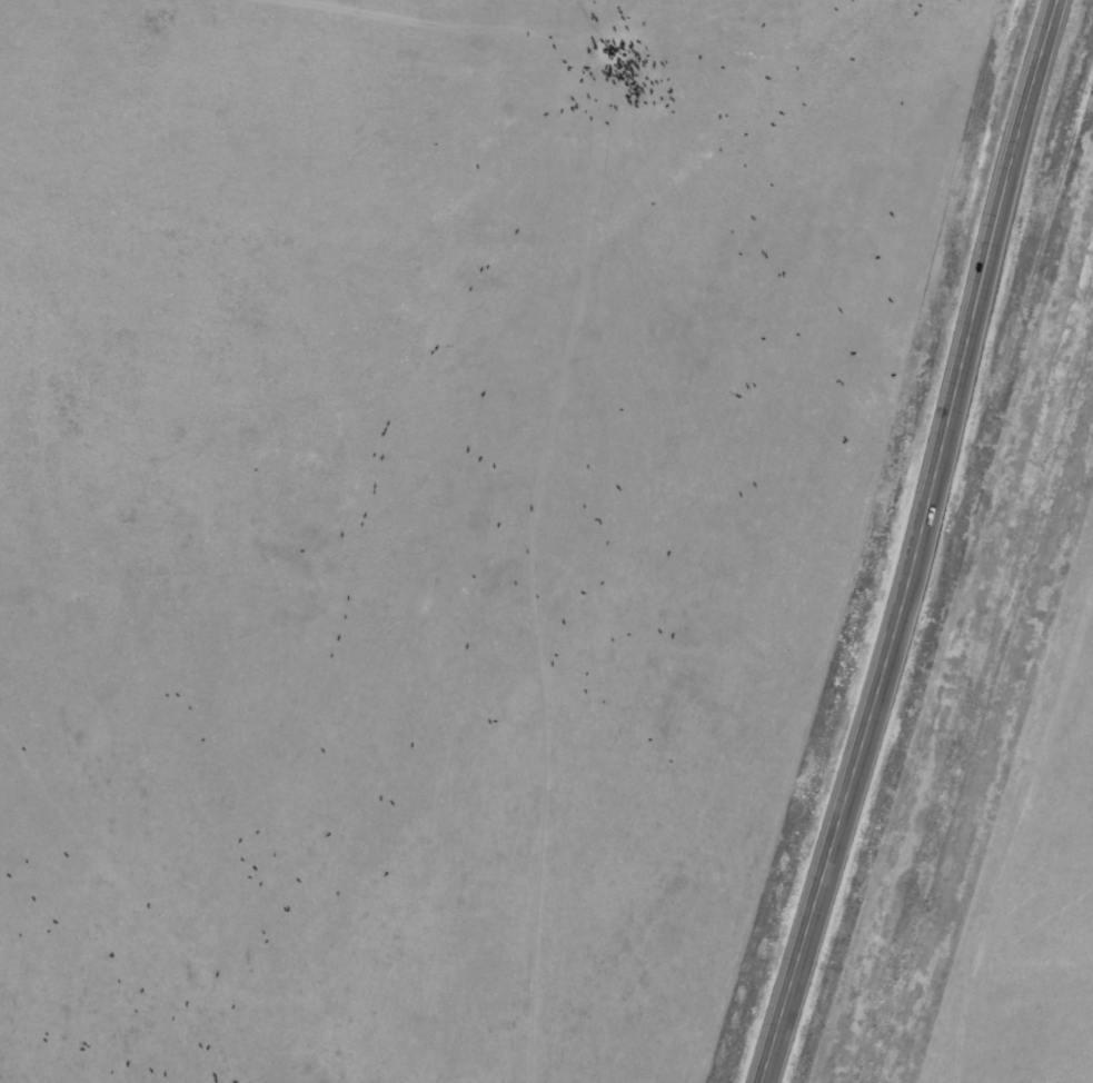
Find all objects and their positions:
road: (915, 544)

